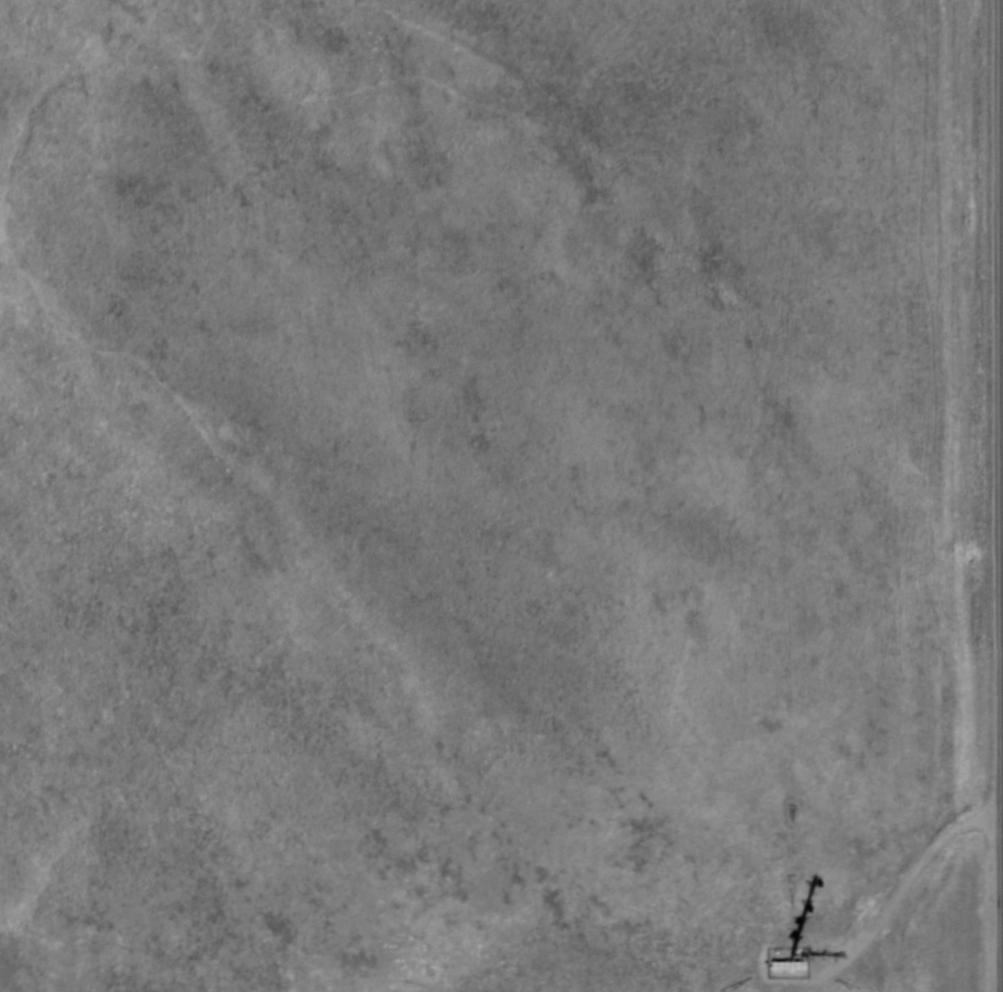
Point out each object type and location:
road: (1002, 56)
building: (783, 967)

